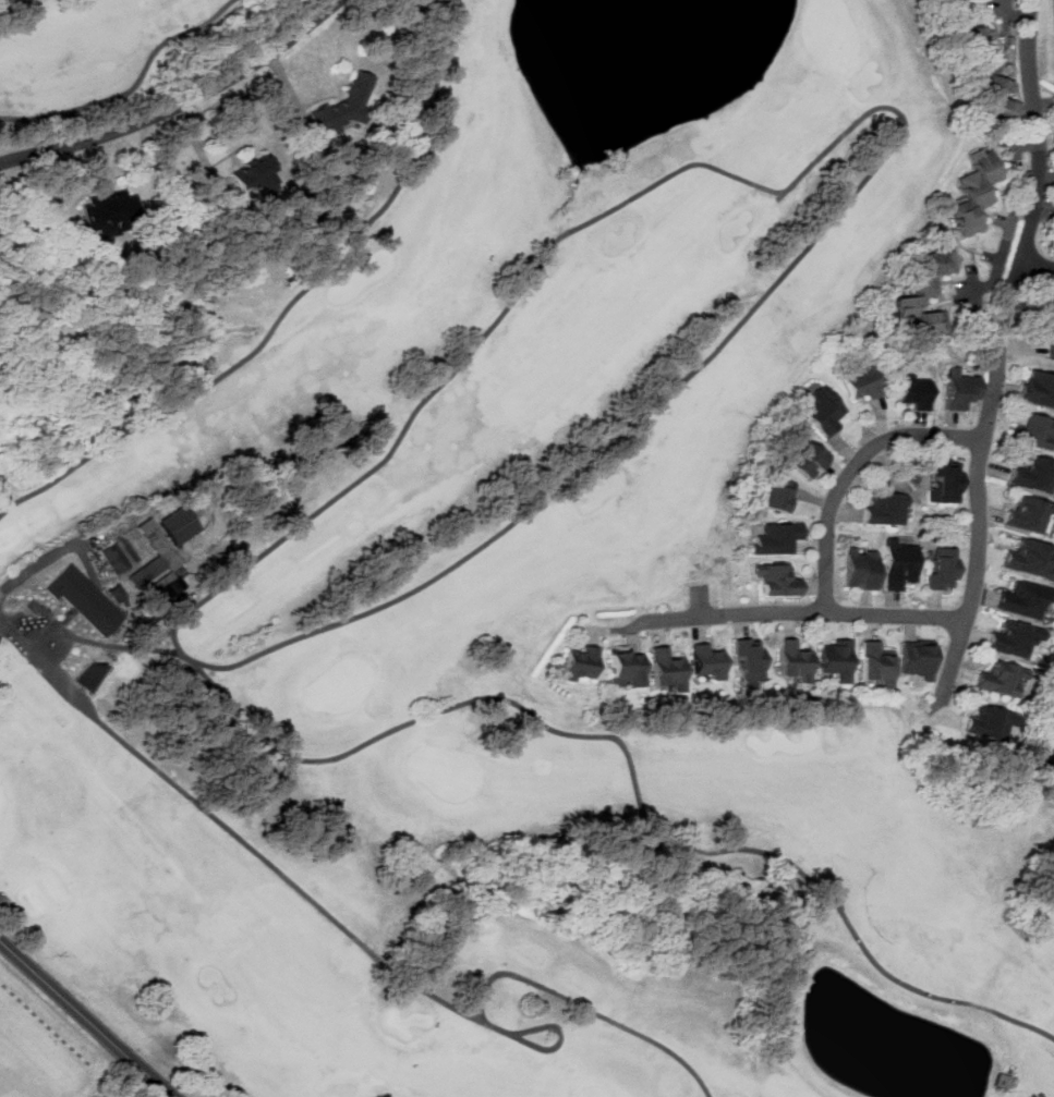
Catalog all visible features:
building: (953, 0)
road: (1010, 14)
building: (979, 34)
park: (101, 54)
building: (998, 87)
road: (173, 105)
building: (348, 105)
building: (259, 174)
building: (978, 191)
building: (111, 211)
road: (1034, 264)
building: (928, 289)
building: (1051, 342)
road: (994, 358)
building: (865, 383)
building: (1039, 387)
building: (961, 388)
building: (914, 391)
building: (825, 409)
building: (1037, 431)
building: (812, 459)
road: (849, 472)
building: (1034, 474)
building: (947, 479)
building: (780, 495)
building: (886, 508)
building: (1026, 514)
building: (181, 524)
building: (778, 537)
road: (64, 547)
building: (117, 554)
building: (1031, 558)
building: (899, 564)
building: (944, 568)
building: (861, 569)
building: (777, 580)
building: (1026, 598)
building: (86, 599)
road: (803, 613)
park: (505, 625)
road: (13, 637)
building: (1016, 639)
building: (837, 658)
building: (920, 659)
building: (710, 660)
building: (796, 660)
building: (877, 660)
building: (583, 662)
building: (750, 662)
building: (627, 669)
building: (669, 669)
building: (1001, 678)
building: (992, 722)
road: (87, 1019)

